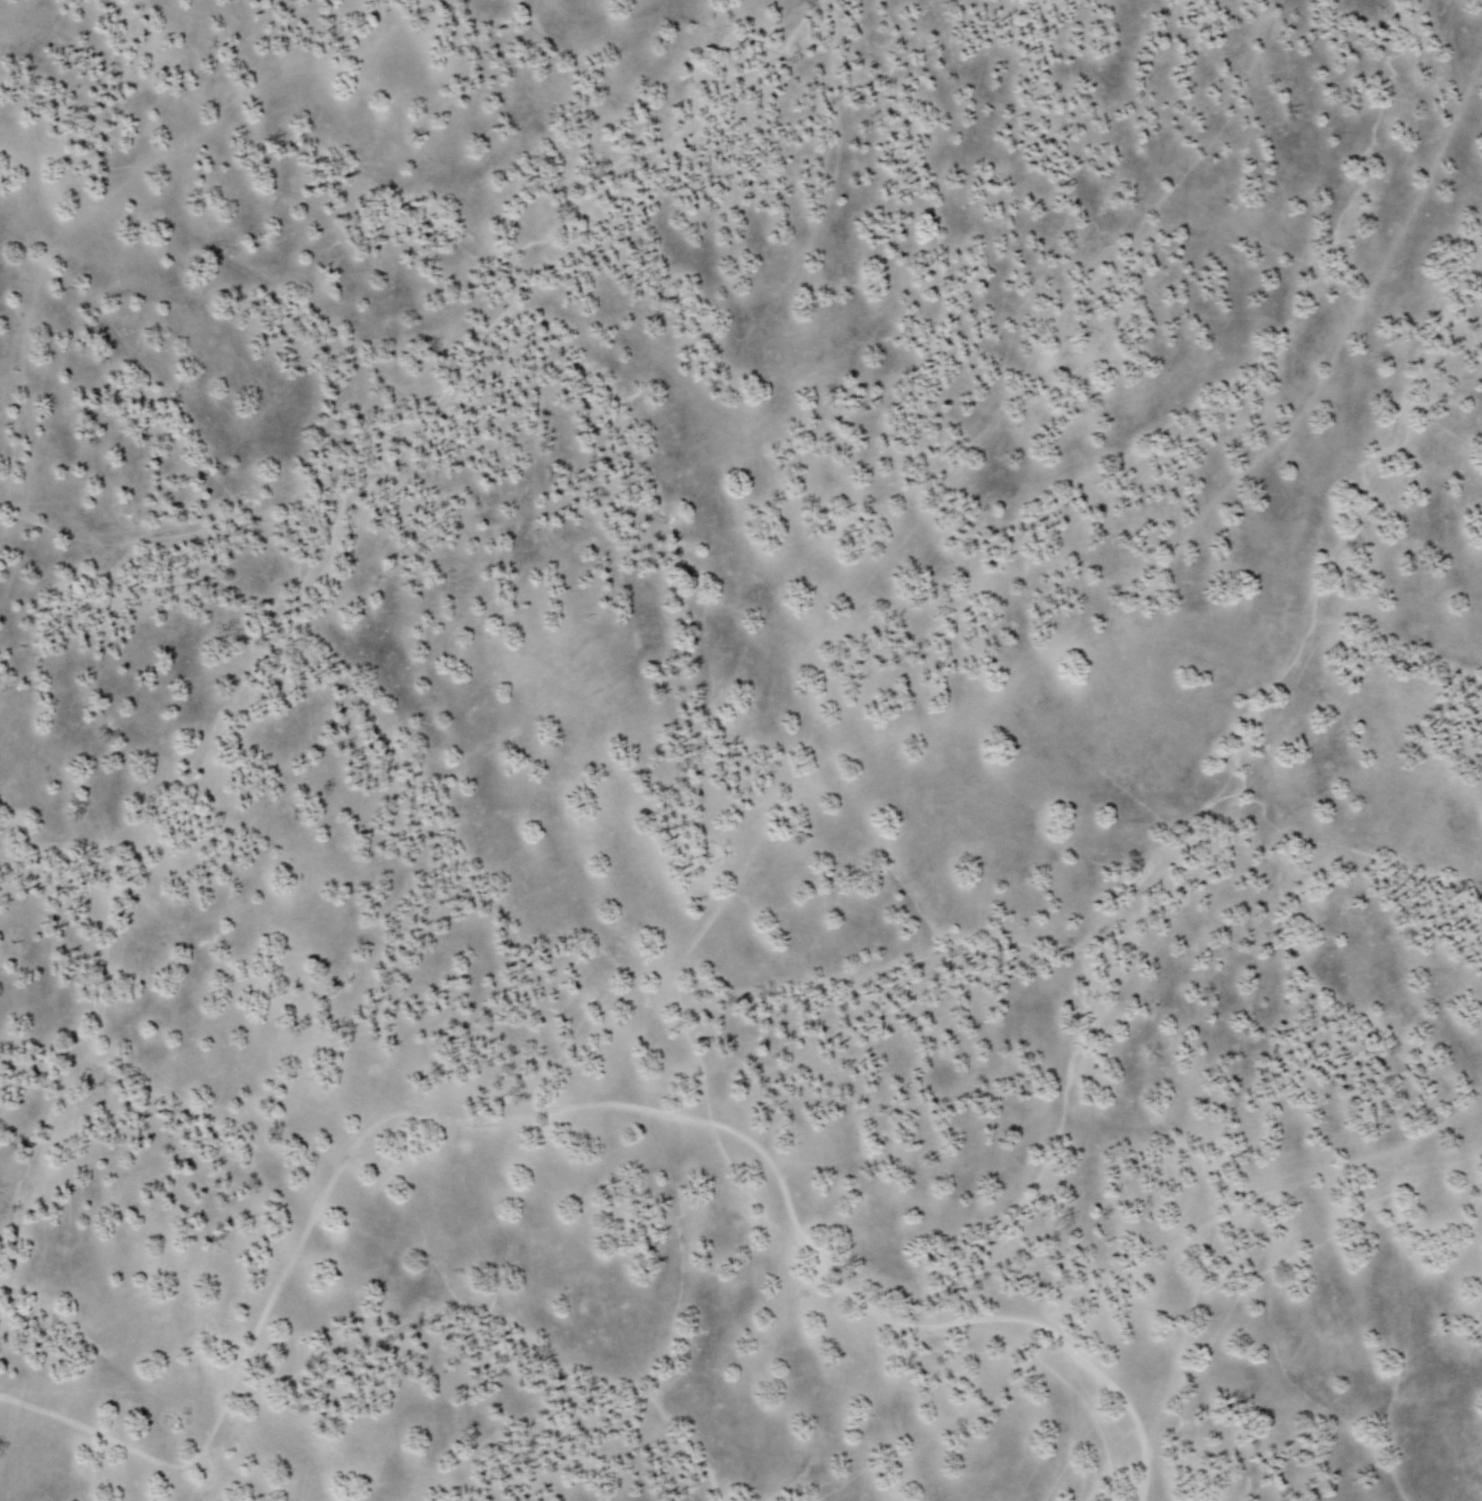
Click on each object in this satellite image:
road: (569, 1107)

